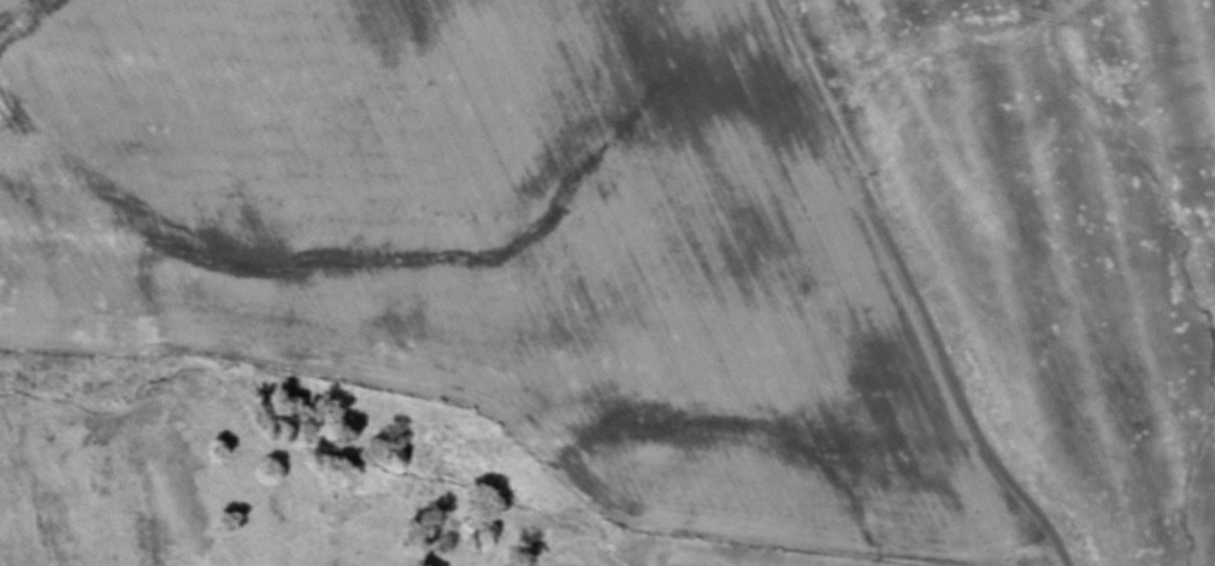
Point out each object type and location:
road: (910, 288)

